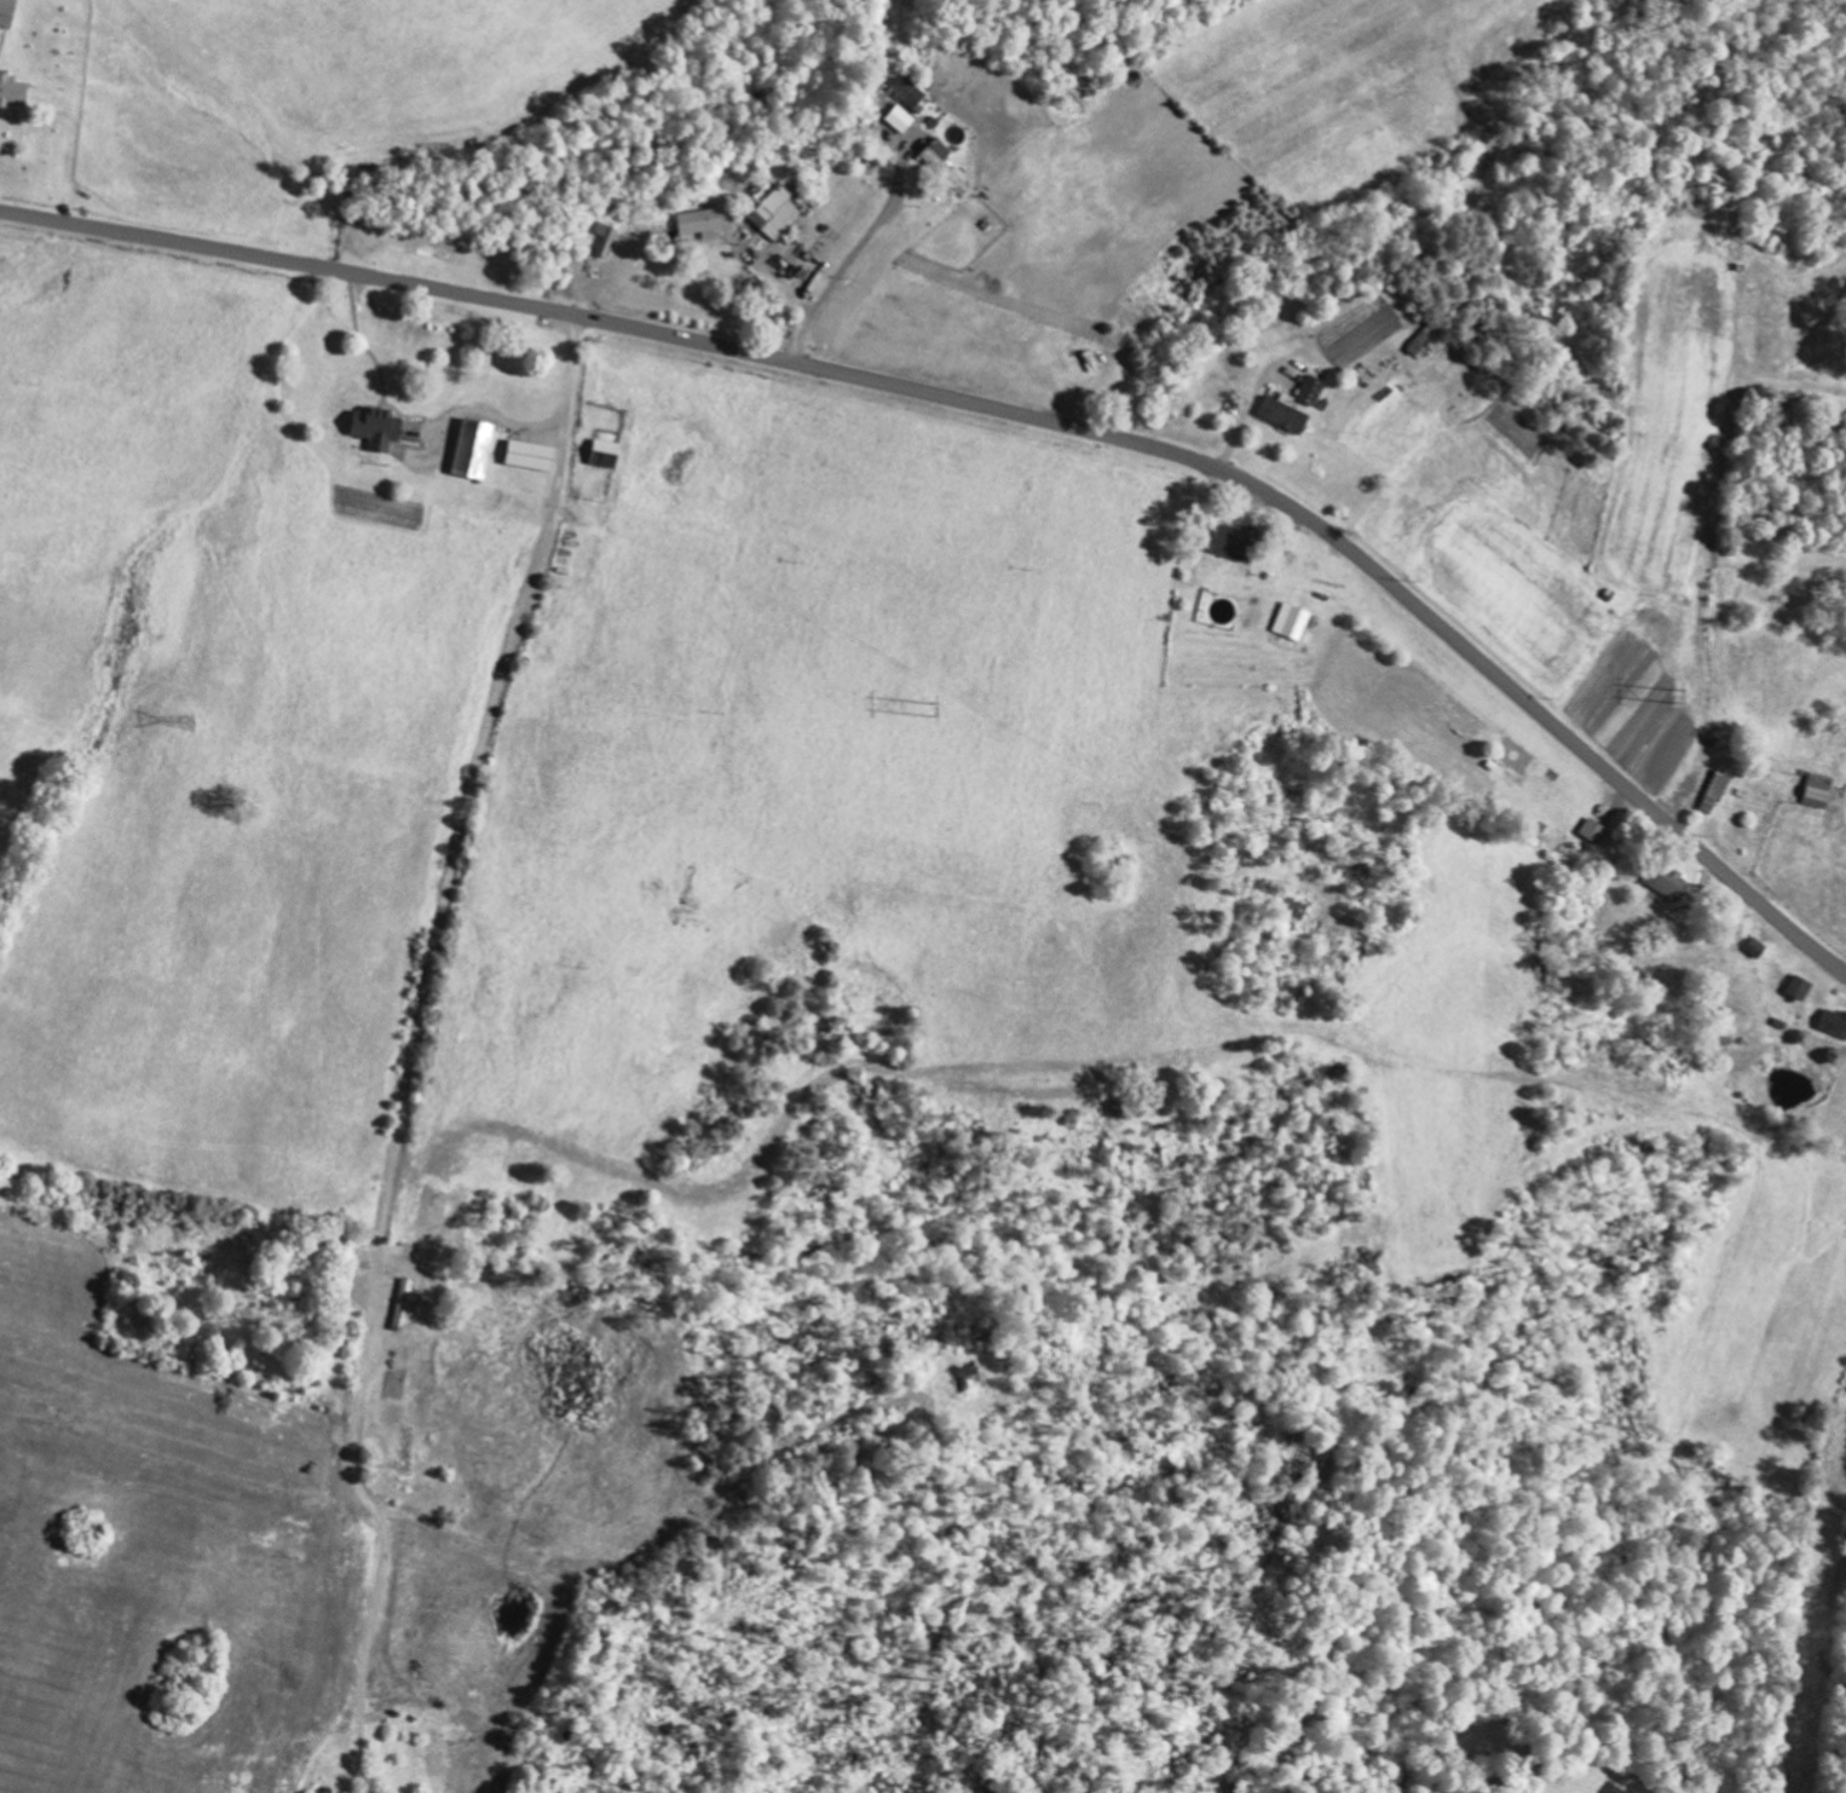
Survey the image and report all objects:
building: (7, 12)
building: (13, 90)
building: (900, 117)
building: (938, 152)
building: (954, 179)
building: (775, 212)
building: (705, 220)
building: (606, 237)
building: (1311, 388)
building: (1285, 411)
road: (1005, 414)
building: (379, 428)
building: (474, 448)
building: (606, 452)
building: (531, 454)
building: (1228, 538)
building: (1293, 621)
building: (1714, 792)
building: (1596, 830)
building: (1667, 886)
building: (1801, 987)
road: (406, 1004)
building: (1834, 1021)
road: (662, 1539)

